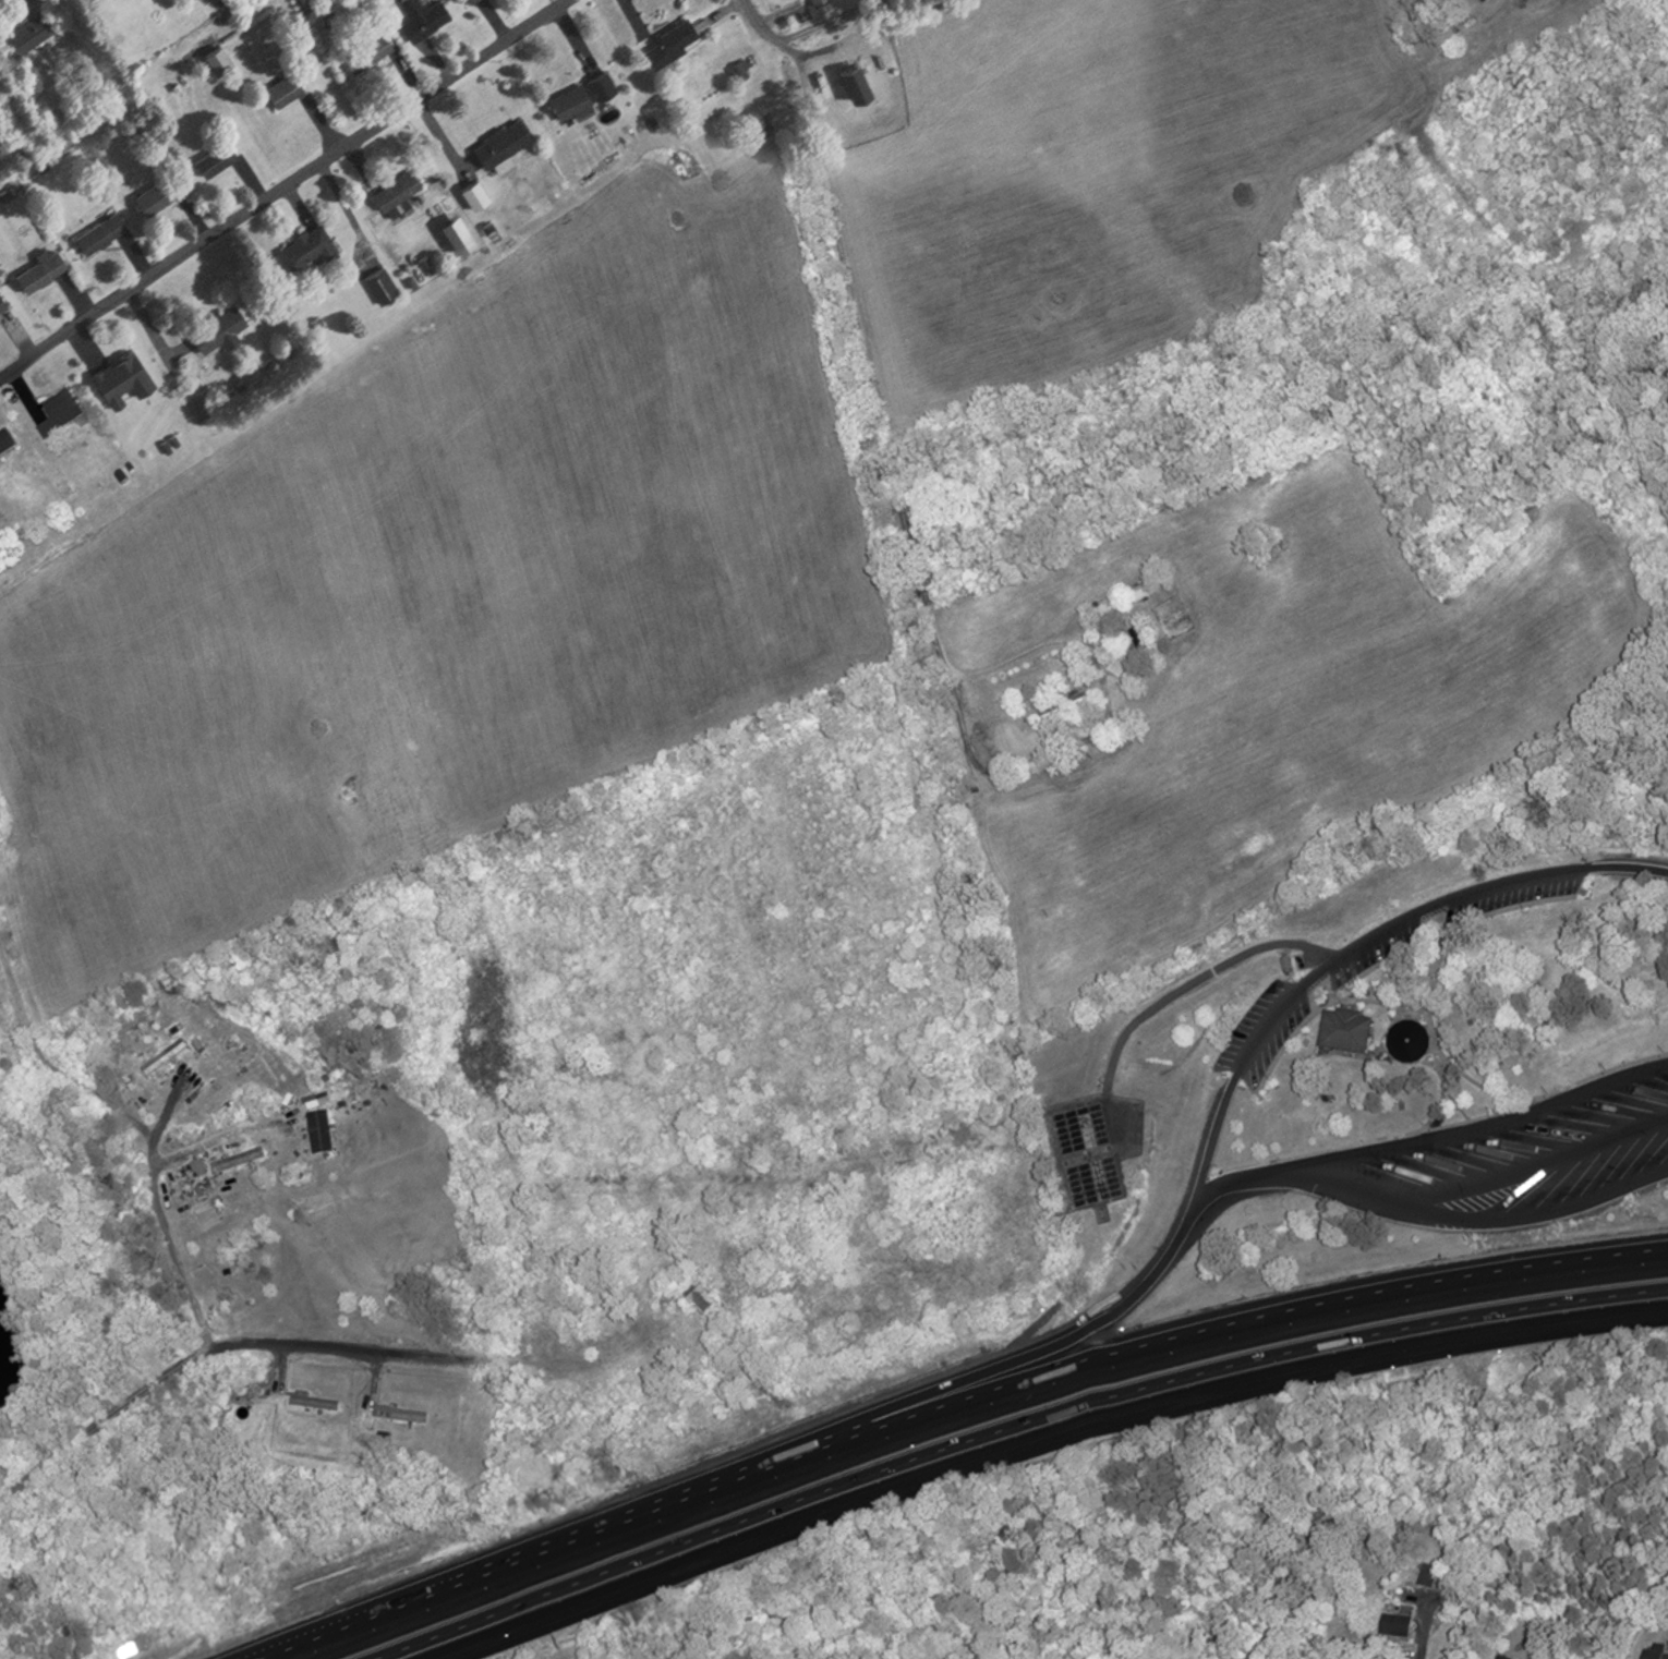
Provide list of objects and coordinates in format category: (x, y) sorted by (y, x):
road: (1483, 16)
road: (803, 27)
road: (287, 185)
road: (868, 353)
parking lot: (1518, 888)
road: (1361, 942)
parking lot: (1378, 944)
road: (1197, 979)
building: (1422, 980)
parking lot: (1266, 1029)
building: (1345, 1032)
building: (1407, 1041)
building: (165, 1056)
building: (316, 1099)
road: (138, 1126)
building: (321, 1130)
road: (1430, 1135)
parking lot: (1522, 1136)
building: (239, 1159)
road: (1502, 1177)
road: (281, 1341)
road: (933, 1390)
road: (951, 1403)
road: (1038, 1438)
road: (1423, 1633)

